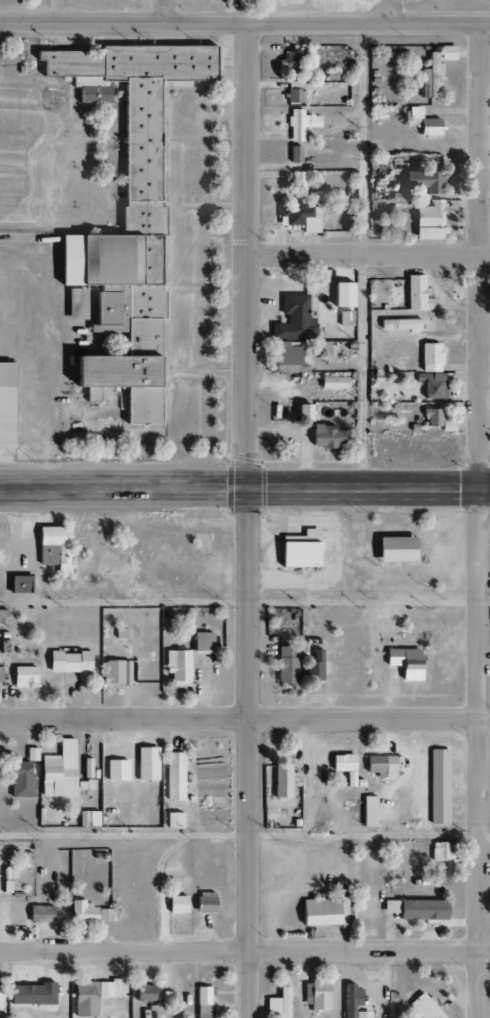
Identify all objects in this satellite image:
building: (231, 3)
road: (54, 11)
road: (165, 11)
road: (271, 11)
road: (389, 11)
road: (245, 23)
building: (446, 53)
building: (292, 63)
building: (430, 77)
building: (293, 92)
building: (424, 123)
building: (299, 124)
road: (208, 139)
building: (294, 155)
building: (301, 180)
building: (318, 197)
road: (208, 203)
building: (294, 215)
building: (429, 221)
building: (129, 223)
road: (368, 251)
road: (362, 253)
road: (168, 265)
road: (207, 288)
building: (413, 292)
building: (341, 295)
building: (430, 304)
building: (294, 319)
building: (400, 325)
building: (290, 357)
building: (429, 358)
building: (332, 383)
building: (432, 385)
building: (5, 406)
building: (301, 413)
building: (437, 420)
building: (346, 435)
building: (325, 437)
road: (245, 485)
road: (245, 520)
road: (477, 520)
building: (55, 545)
building: (393, 549)
building: (299, 550)
building: (45, 555)
building: (18, 584)
road: (245, 601)
building: (2, 614)
building: (119, 633)
building: (201, 642)
building: (68, 662)
building: (402, 662)
building: (177, 666)
building: (285, 666)
building: (313, 666)
building: (115, 673)
building: (0, 674)
building: (22, 676)
road: (244, 715)
building: (343, 766)
building: (380, 766)
building: (116, 770)
building: (146, 770)
building: (22, 775)
building: (173, 776)
building: (283, 781)
building: (438, 787)
building: (367, 816)
building: (87, 818)
building: (172, 820)
road: (245, 834)
building: (443, 852)
building: (204, 902)
building: (176, 904)
building: (415, 909)
building: (325, 911)
building: (87, 913)
building: (39, 914)
road: (245, 949)
building: (109, 988)
building: (144, 994)
building: (23, 995)
building: (0, 996)
building: (318, 996)
building: (84, 999)
building: (163, 999)
building: (202, 1002)
building: (352, 1002)
building: (278, 1003)
building: (430, 1008)

